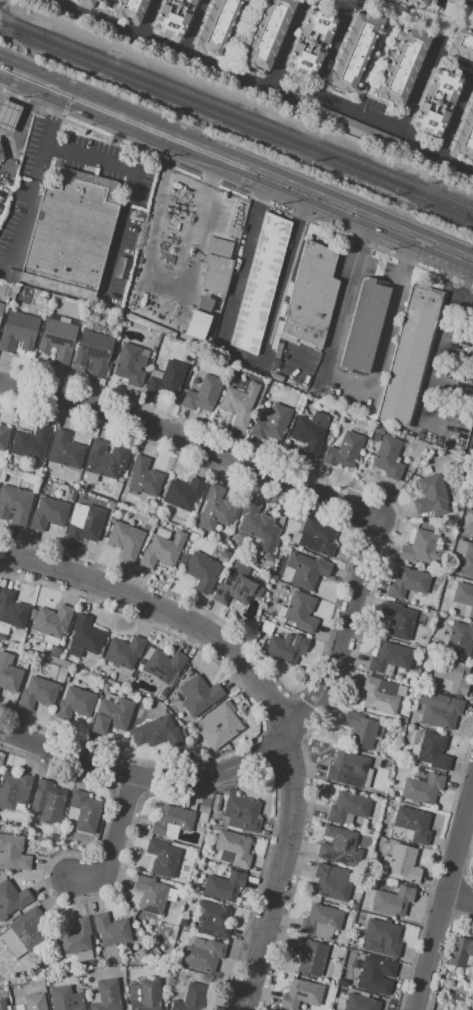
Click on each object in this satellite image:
building: (87, 2)
building: (463, 2)
building: (407, 3)
road: (434, 4)
building: (130, 10)
road: (146, 18)
building: (172, 18)
building: (217, 26)
road: (191, 27)
building: (267, 33)
building: (310, 42)
building: (461, 44)
road: (285, 45)
road: (330, 51)
building: (354, 52)
building: (402, 64)
road: (451, 65)
road: (3, 75)
road: (28, 79)
road: (417, 85)
road: (264, 88)
road: (72, 97)
road: (33, 98)
building: (435, 102)
railway: (236, 112)
building: (7, 115)
gas station: (7, 115)
road: (455, 115)
railway: (236, 122)
building: (354, 128)
road: (16, 131)
building: (464, 135)
road: (146, 150)
building: (1, 156)
road: (31, 176)
road: (280, 184)
road: (205, 185)
road: (134, 186)
building: (0, 208)
building: (69, 240)
road: (148, 255)
building: (216, 266)
building: (261, 284)
road: (446, 285)
building: (14, 289)
building: (311, 294)
building: (11, 295)
building: (204, 304)
building: (1, 307)
building: (93, 316)
building: (117, 321)
building: (125, 324)
building: (196, 325)
building: (363, 326)
building: (18, 331)
road: (442, 333)
building: (57, 340)
building: (207, 340)
building: (170, 342)
building: (181, 345)
building: (93, 351)
road: (238, 352)
building: (410, 356)
building: (132, 363)
building: (156, 374)
building: (276, 377)
building: (166, 379)
road: (344, 379)
building: (203, 394)
building: (365, 398)
building: (239, 403)
building: (272, 423)
building: (378, 430)
building: (310, 432)
building: (3, 437)
building: (373, 438)
building: (30, 443)
road: (193, 445)
building: (65, 451)
building: (343, 451)
building: (388, 458)
building: (106, 459)
building: (425, 470)
building: (144, 477)
building: (43, 490)
building: (183, 493)
building: (431, 496)
building: (83, 497)
building: (14, 505)
building: (215, 509)
building: (48, 514)
building: (180, 514)
building: (254, 521)
building: (84, 522)
building: (183, 525)
building: (470, 530)
building: (162, 533)
building: (316, 536)
building: (125, 541)
building: (422, 549)
building: (459, 549)
building: (162, 550)
building: (182, 559)
building: (467, 560)
building: (307, 570)
building: (201, 571)
building: (286, 574)
building: (449, 578)
building: (407, 583)
building: (237, 586)
building: (464, 596)
building: (12, 611)
building: (281, 611)
building: (300, 611)
building: (466, 612)
building: (261, 619)
building: (398, 620)
building: (51, 621)
building: (266, 628)
building: (85, 636)
building: (3, 637)
building: (459, 638)
building: (50, 641)
building: (286, 647)
building: (124, 651)
building: (74, 653)
building: (389, 658)
building: (163, 665)
building: (9, 675)
building: (452, 675)
building: (38, 694)
building: (198, 695)
building: (379, 696)
building: (132, 697)
road: (271, 702)
building: (75, 703)
building: (442, 714)
building: (111, 715)
building: (402, 720)
building: (222, 724)
building: (360, 730)
building: (156, 732)
building: (413, 752)
building: (432, 752)
road: (259, 757)
building: (387, 765)
building: (347, 770)
building: (368, 777)
building: (422, 789)
building: (14, 790)
building: (193, 798)
building: (217, 798)
building: (47, 802)
building: (205, 803)
building: (348, 806)
building: (214, 808)
building: (85, 811)
building: (241, 813)
building: (172, 822)
building: (413, 823)
building: (367, 830)
building: (11, 831)
building: (408, 835)
road: (112, 837)
building: (53, 838)
building: (234, 847)
building: (339, 847)
building: (13, 853)
building: (162, 858)
building: (402, 864)
building: (331, 883)
building: (223, 886)
building: (150, 894)
building: (171, 895)
road: (443, 896)
building: (12, 898)
building: (392, 901)
road: (458, 901)
building: (348, 905)
building: (185, 909)
building: (211, 920)
building: (321, 922)
building: (182, 923)
building: (361, 924)
building: (111, 932)
building: (23, 933)
building: (383, 936)
building: (76, 940)
building: (459, 952)
building: (202, 955)
building: (309, 956)
building: (37, 959)
building: (327, 969)
building: (370, 974)
building: (343, 981)
building: (47, 984)
building: (301, 994)
building: (105, 995)
building: (144, 995)
building: (191, 998)
building: (65, 999)
building: (1, 1002)
building: (34, 1002)
building: (361, 1003)
building: (2, 1007)
building: (448, 1009)

